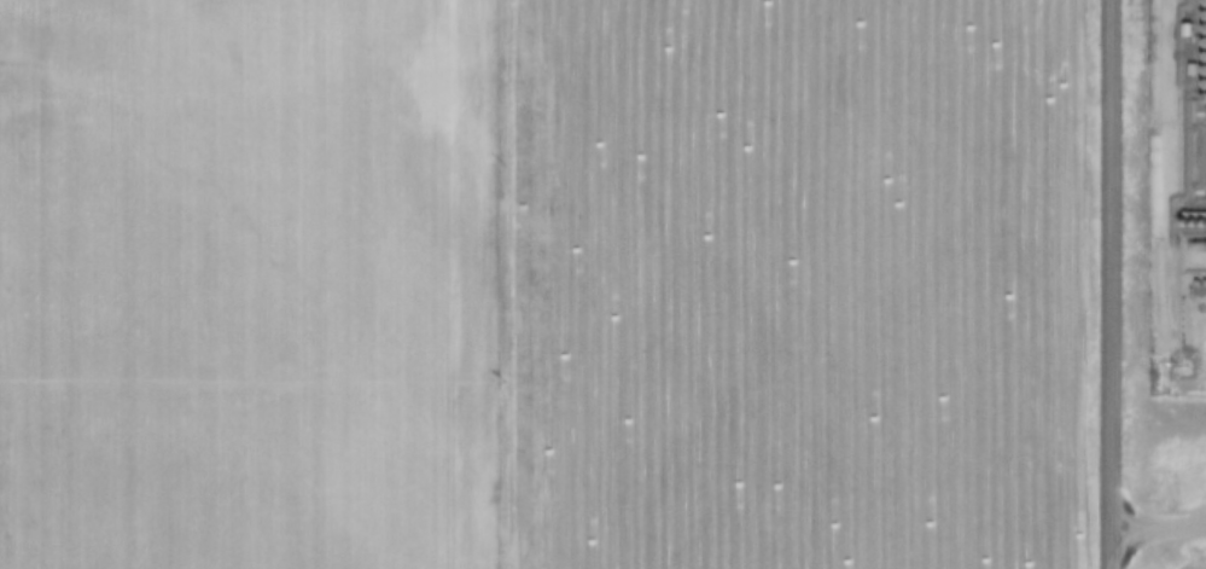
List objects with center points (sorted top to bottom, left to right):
building: (1183, 29)
road: (1101, 284)
road: (1154, 535)

